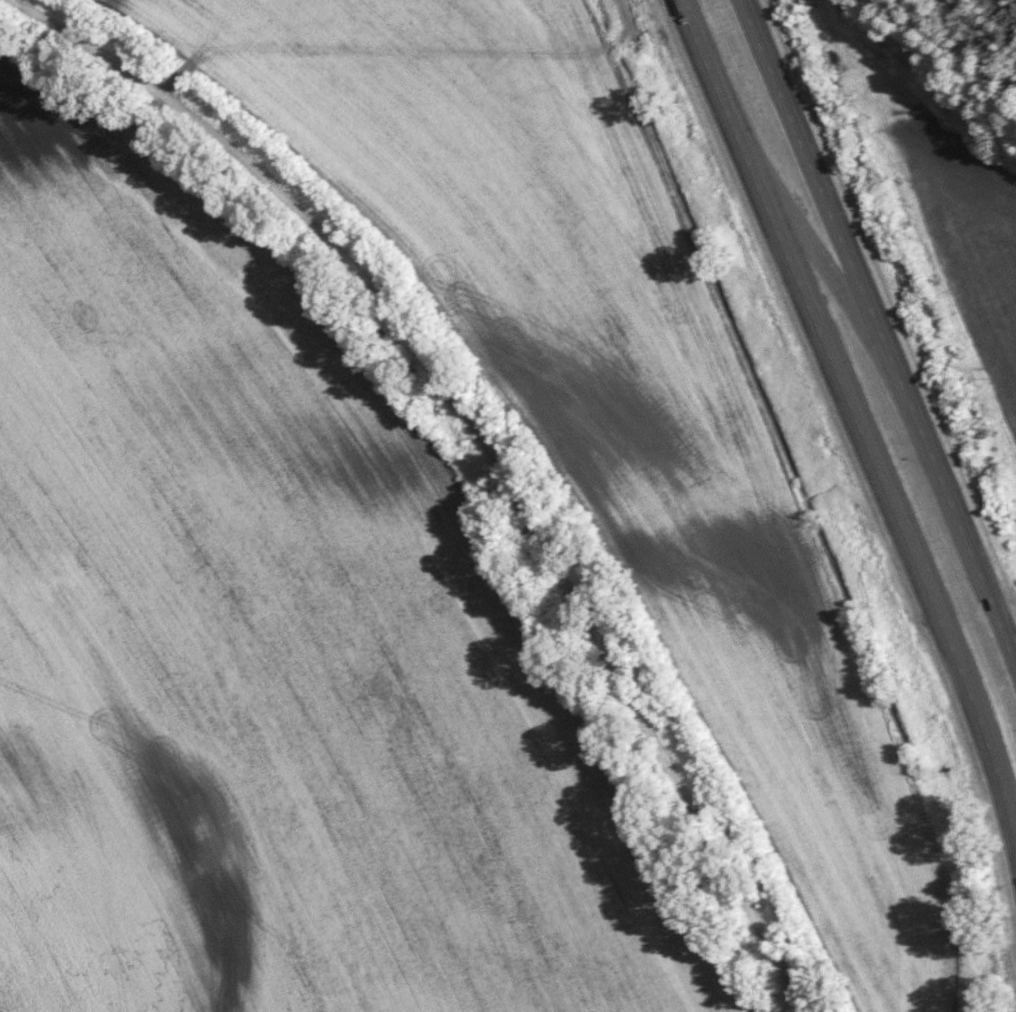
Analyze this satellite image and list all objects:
crop: (943, 200)
road: (880, 326)
crop: (614, 398)
road: (853, 413)
road: (487, 442)
crop: (275, 644)

